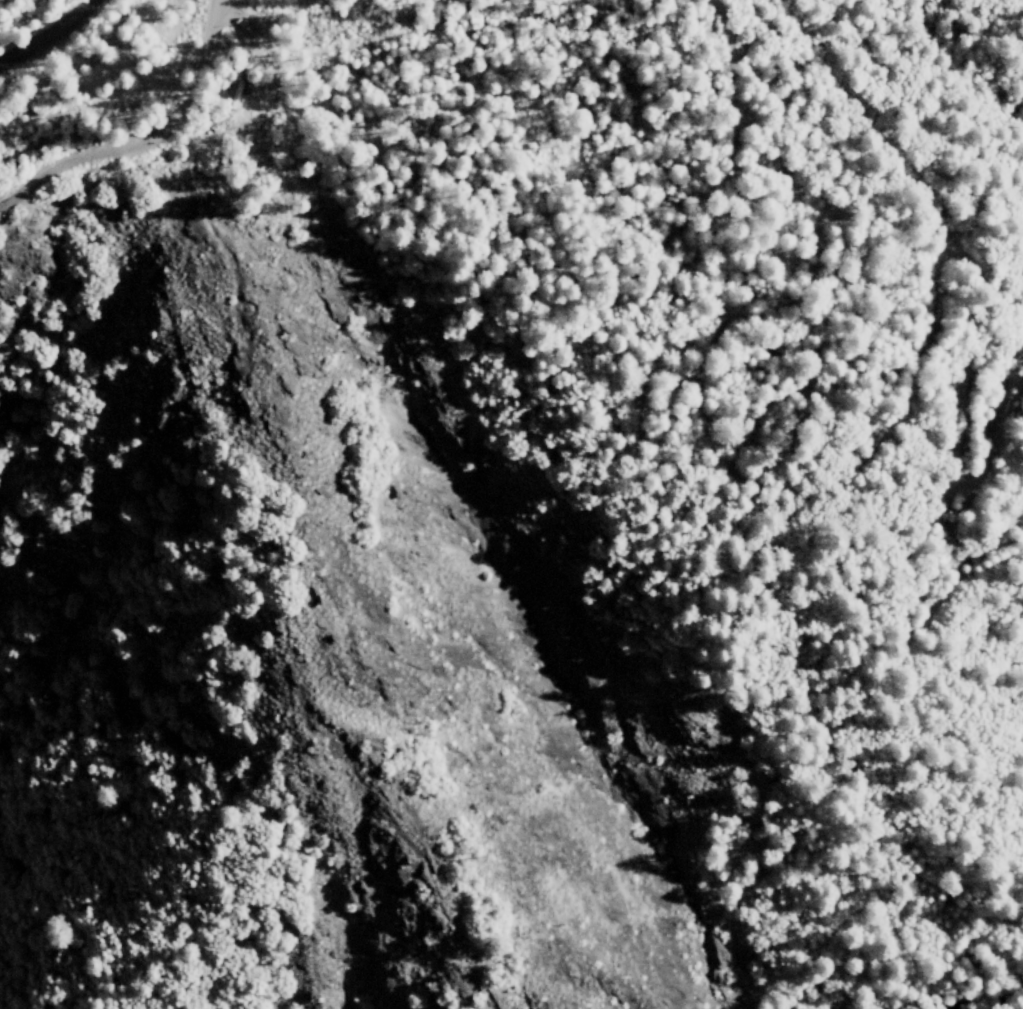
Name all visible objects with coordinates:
road: (52, 40)
road: (145, 139)

